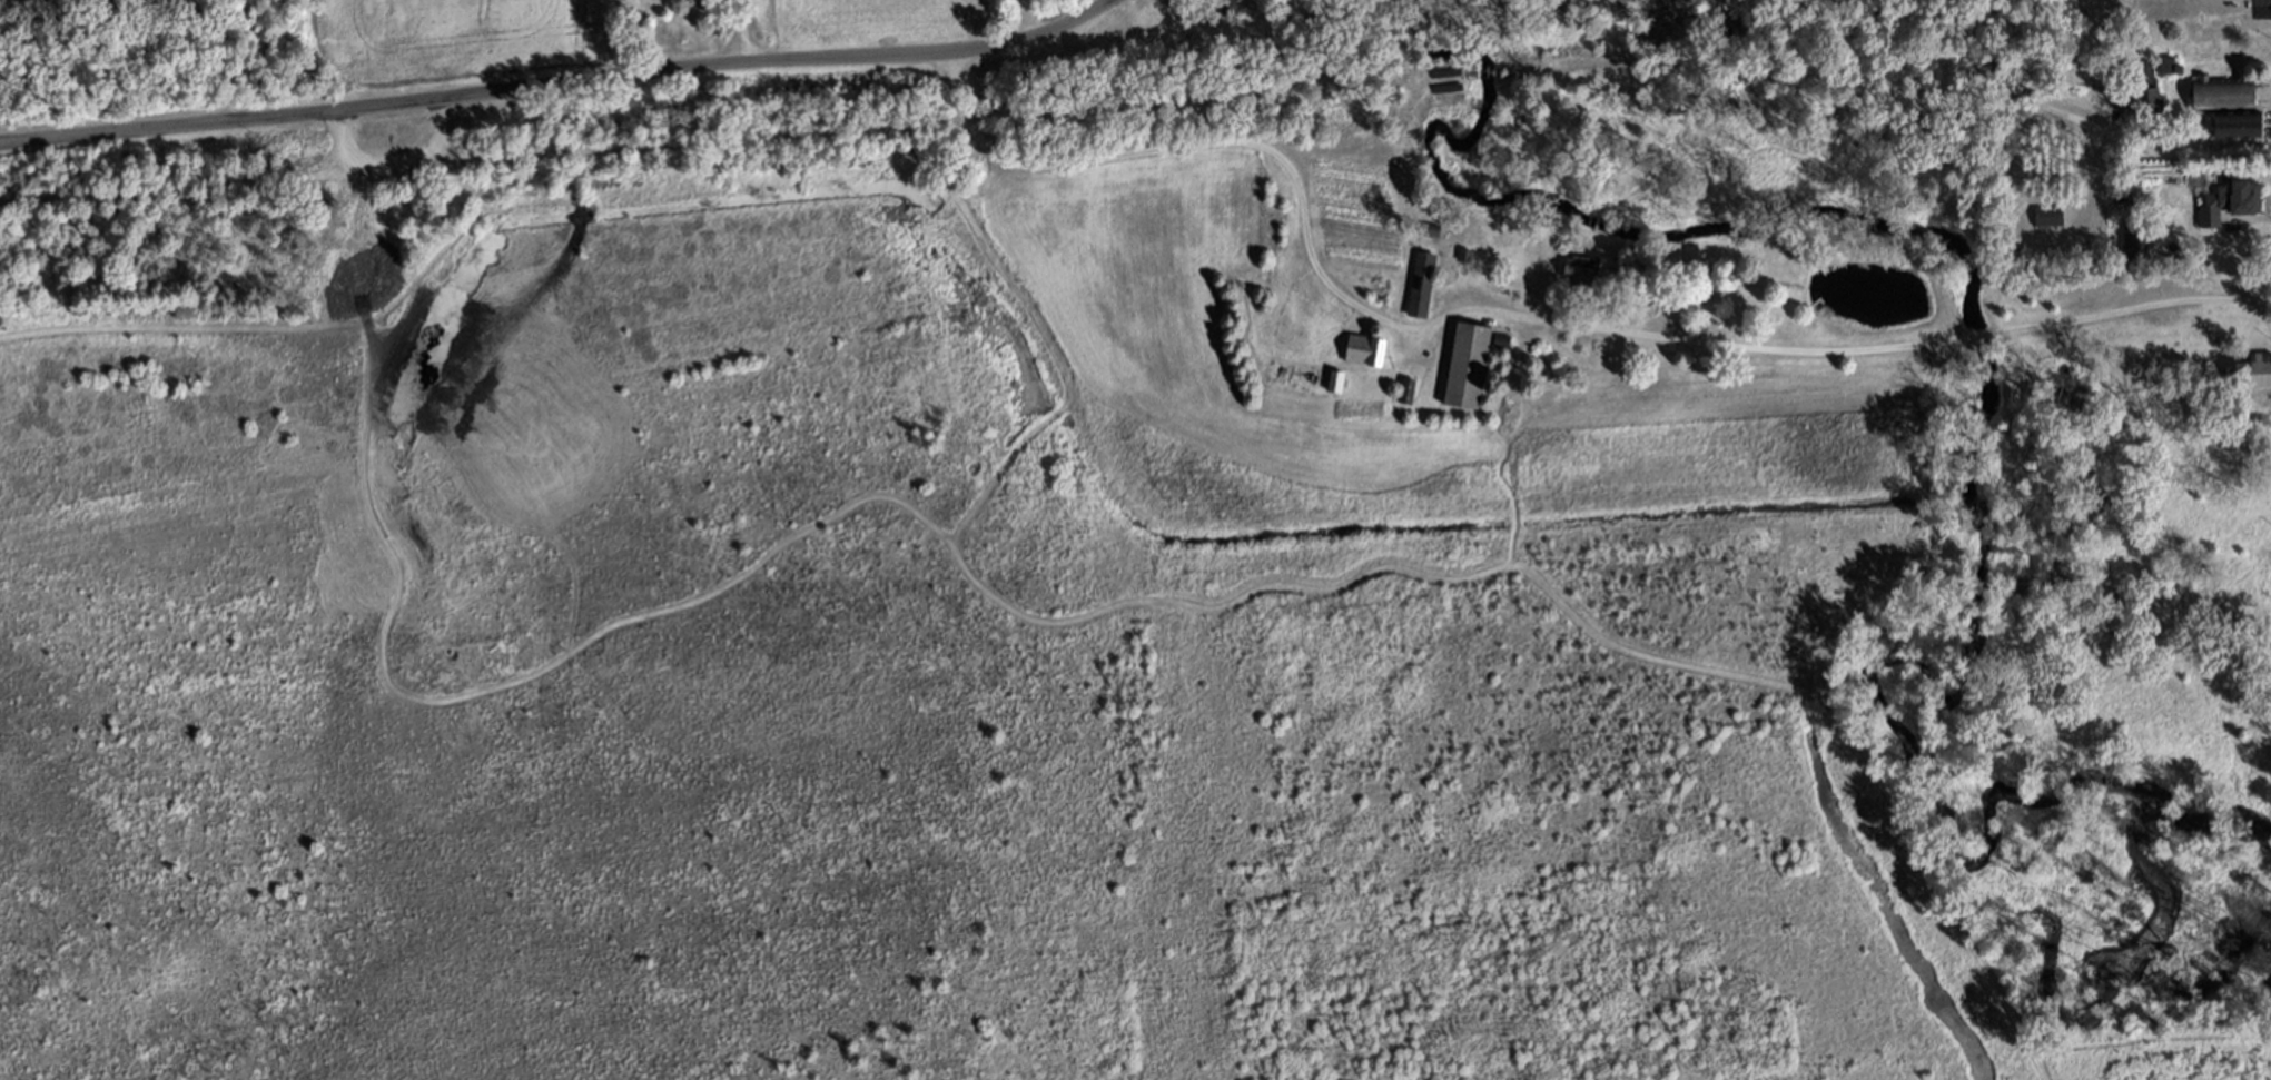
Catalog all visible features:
building: (40, 4)
building: (1231, 11)
road: (737, 31)
building: (2169, 62)
road: (560, 86)
building: (2140, 90)
building: (2223, 95)
building: (2240, 127)
road: (2135, 136)
parking lot: (396, 137)
road: (391, 157)
road: (225, 184)
building: (2228, 205)
building: (2048, 219)
building: (2137, 240)
road: (447, 244)
building: (1598, 269)
building: (1421, 281)
building: (1383, 285)
road: (1519, 315)
road: (180, 321)
building: (1365, 347)
building: (1468, 363)
building: (2255, 371)
building: (1304, 373)
building: (1406, 387)
road: (1122, 601)

